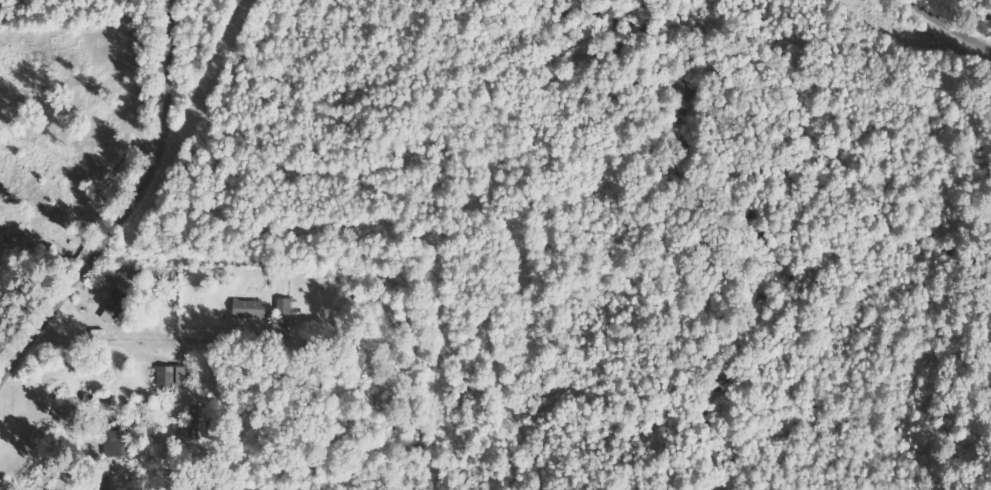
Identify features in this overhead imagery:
road: (952, 22)
road: (149, 180)
building: (118, 307)
building: (255, 307)
building: (287, 310)
road: (154, 335)
road: (22, 358)
building: (174, 378)
building: (201, 424)
building: (120, 442)

